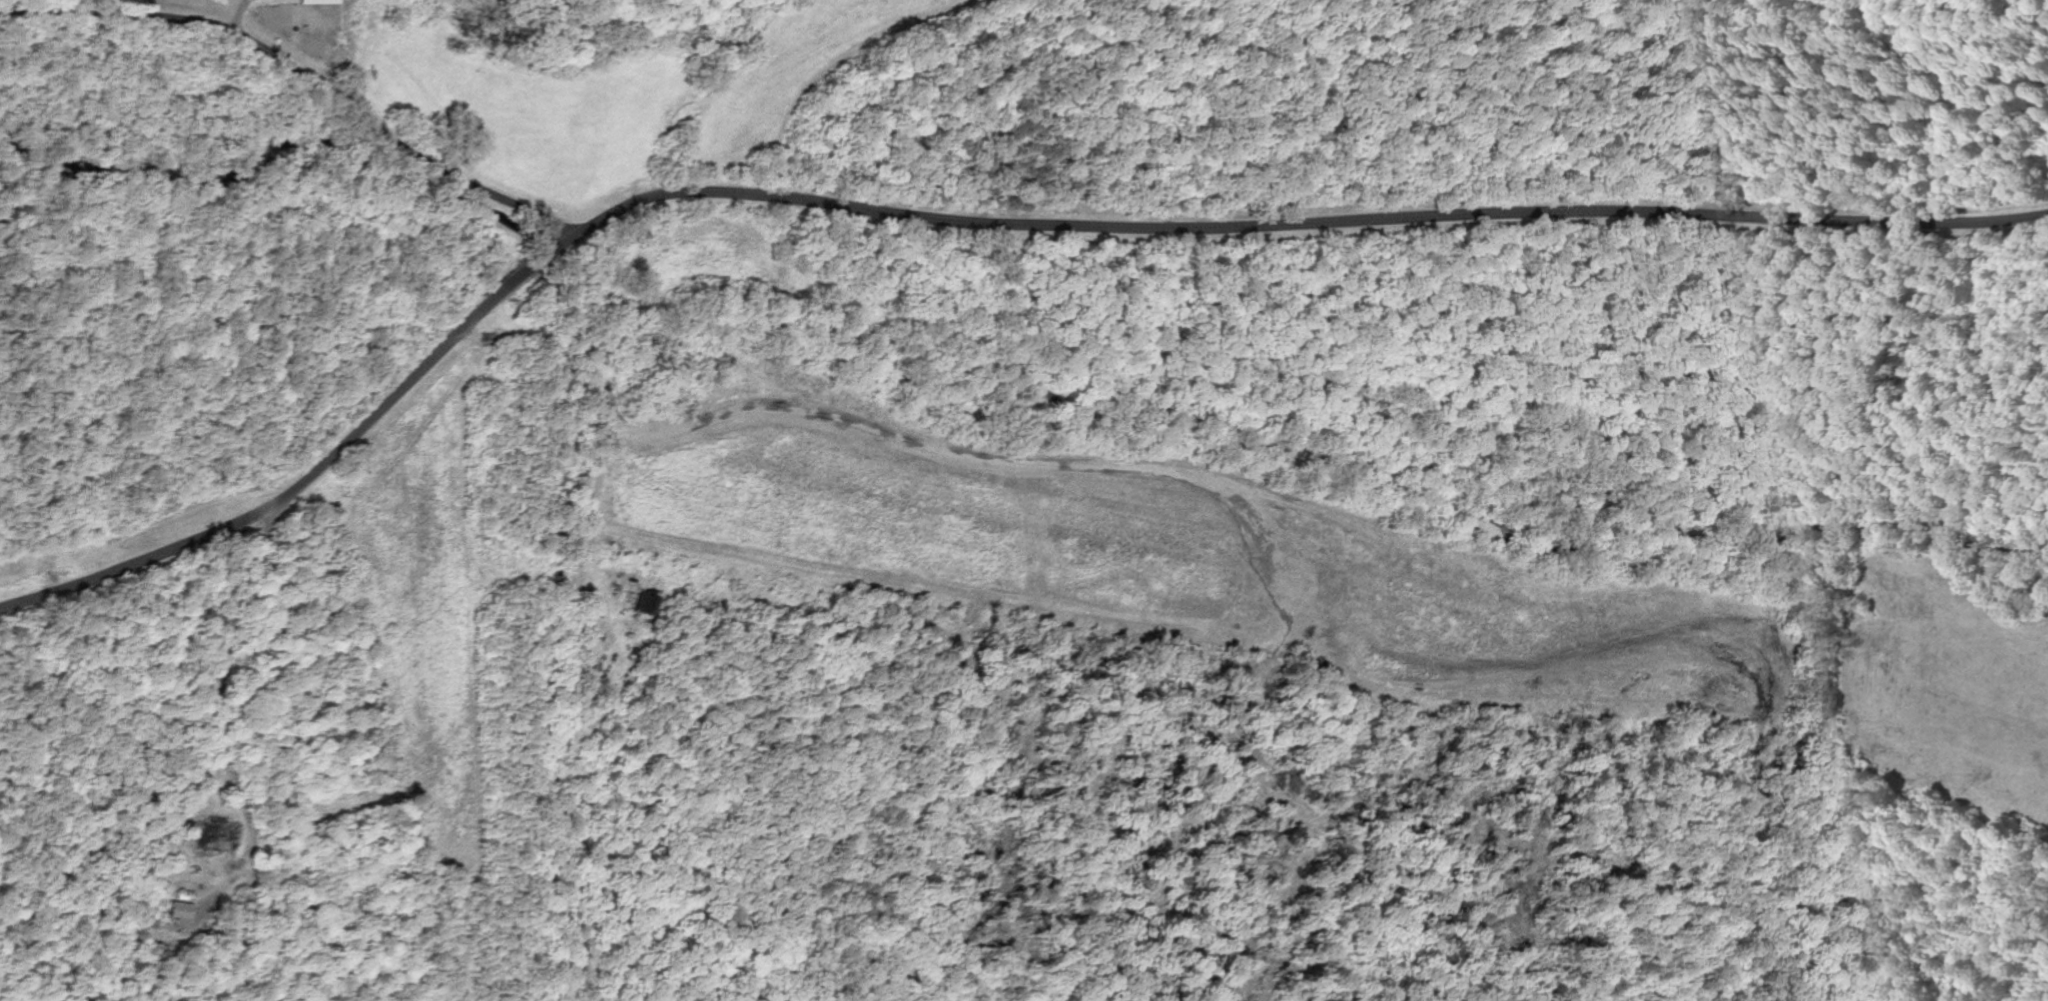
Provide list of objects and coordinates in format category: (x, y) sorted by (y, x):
building: (314, 2)
road: (300, 77)
road: (956, 222)
road: (500, 575)
building: (184, 910)

